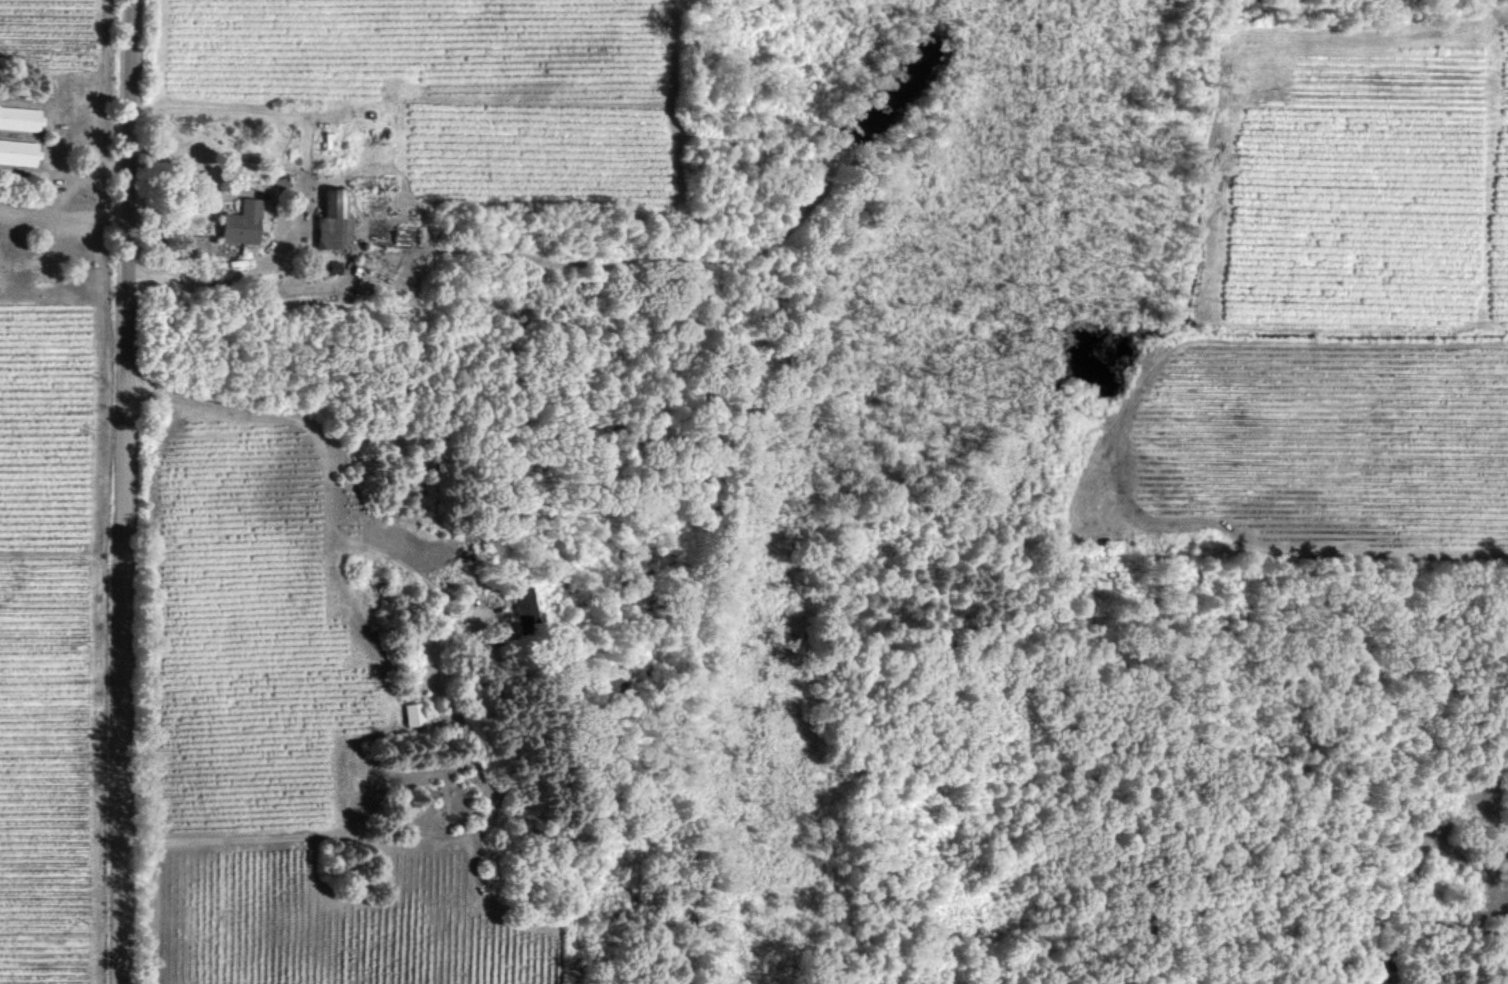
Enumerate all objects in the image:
building: (20, 118)
building: (19, 151)
building: (335, 220)
building: (242, 222)
building: (334, 266)
road: (126, 491)
building: (524, 610)
building: (416, 714)

